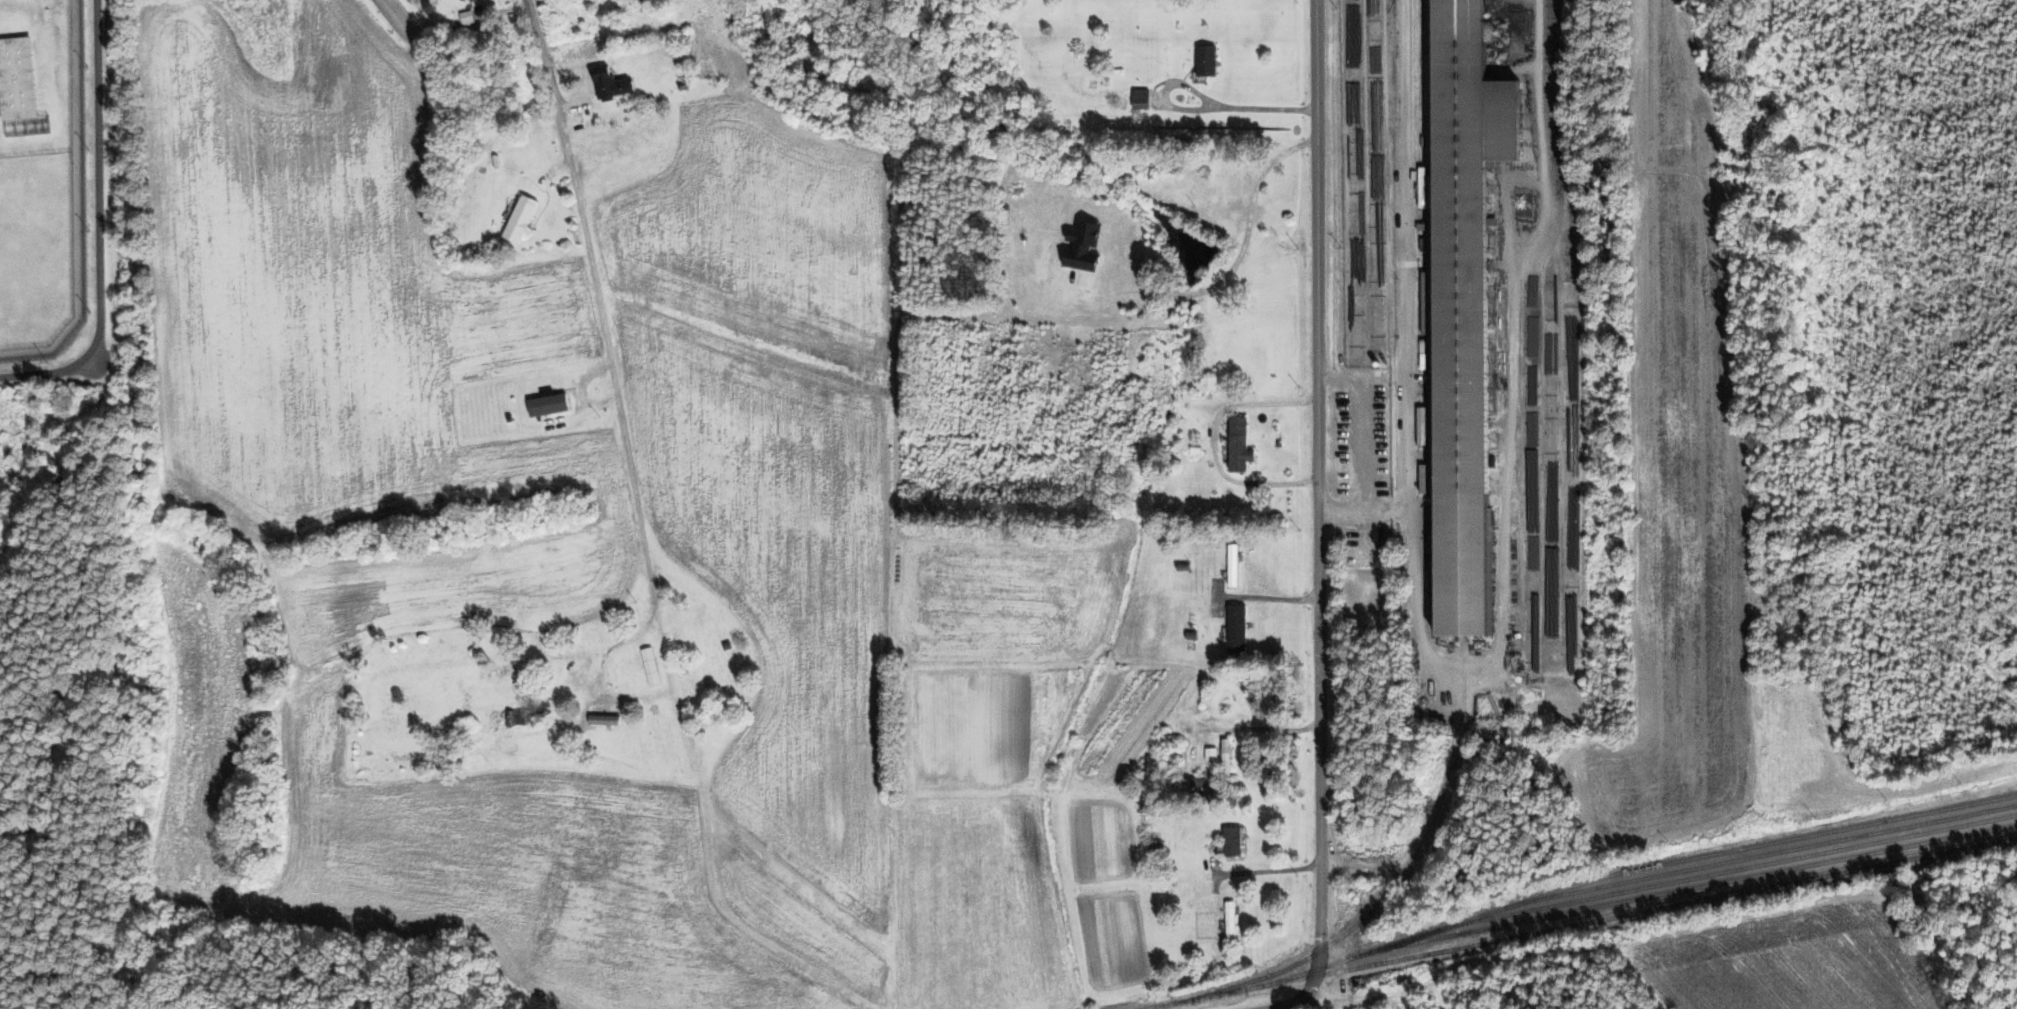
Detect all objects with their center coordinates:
building: (467, 17)
building: (1207, 60)
road: (548, 80)
building: (17, 81)
building: (613, 85)
building: (1142, 98)
road: (1199, 109)
building: (603, 149)
building: (521, 219)
road: (99, 226)
building: (1464, 309)
building: (1210, 383)
road: (614, 392)
building: (549, 405)
road: (1212, 438)
building: (1240, 445)
road: (1315, 526)
building: (1234, 565)
building: (1238, 629)
building: (651, 667)
building: (518, 717)
building: (1211, 754)
building: (1226, 758)
building: (1154, 767)
building: (1233, 840)
road: (1269, 869)
railway: (1578, 913)
building: (1231, 918)

